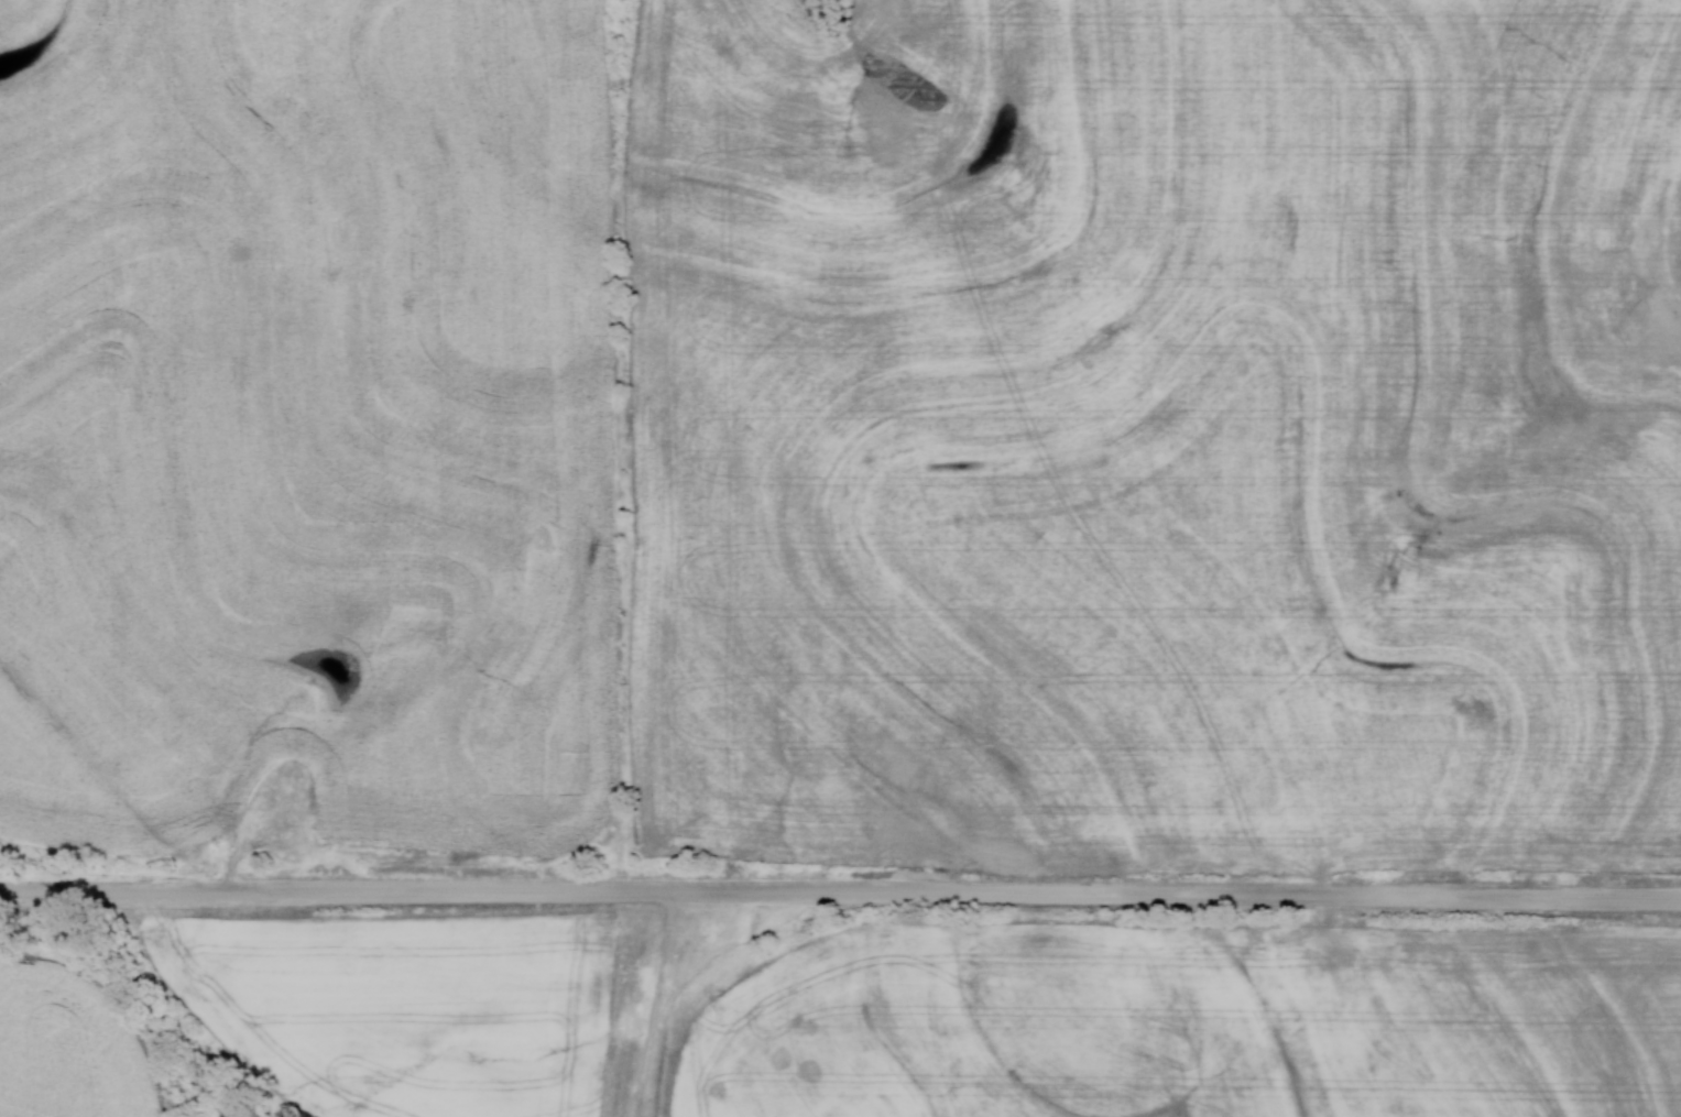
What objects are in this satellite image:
road: (840, 895)

